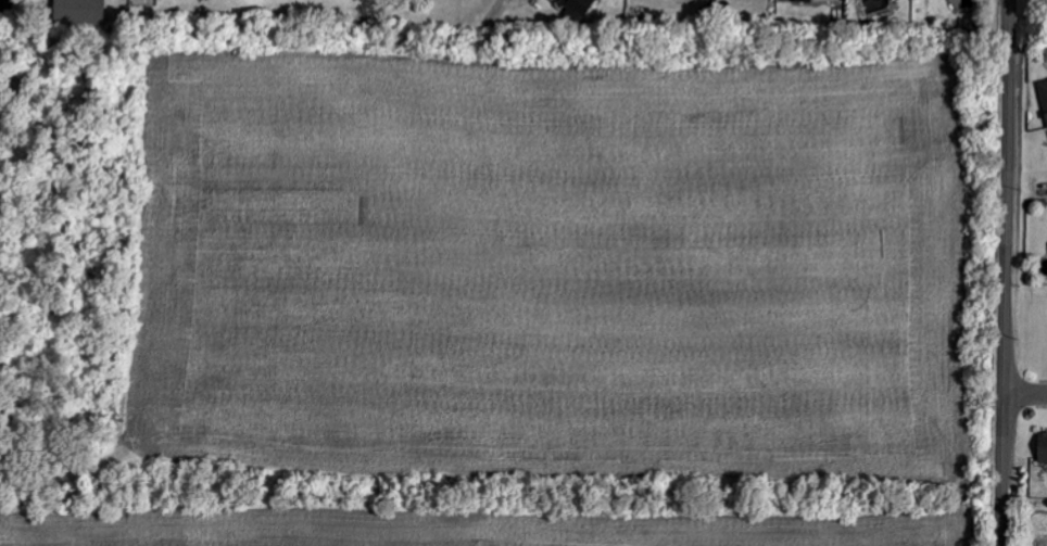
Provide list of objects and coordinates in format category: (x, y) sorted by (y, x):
building: (803, 0)
building: (585, 7)
building: (4, 8)
building: (88, 9)
building: (1044, 98)
road: (1006, 272)
road: (1026, 392)
building: (1042, 447)
building: (1039, 538)

